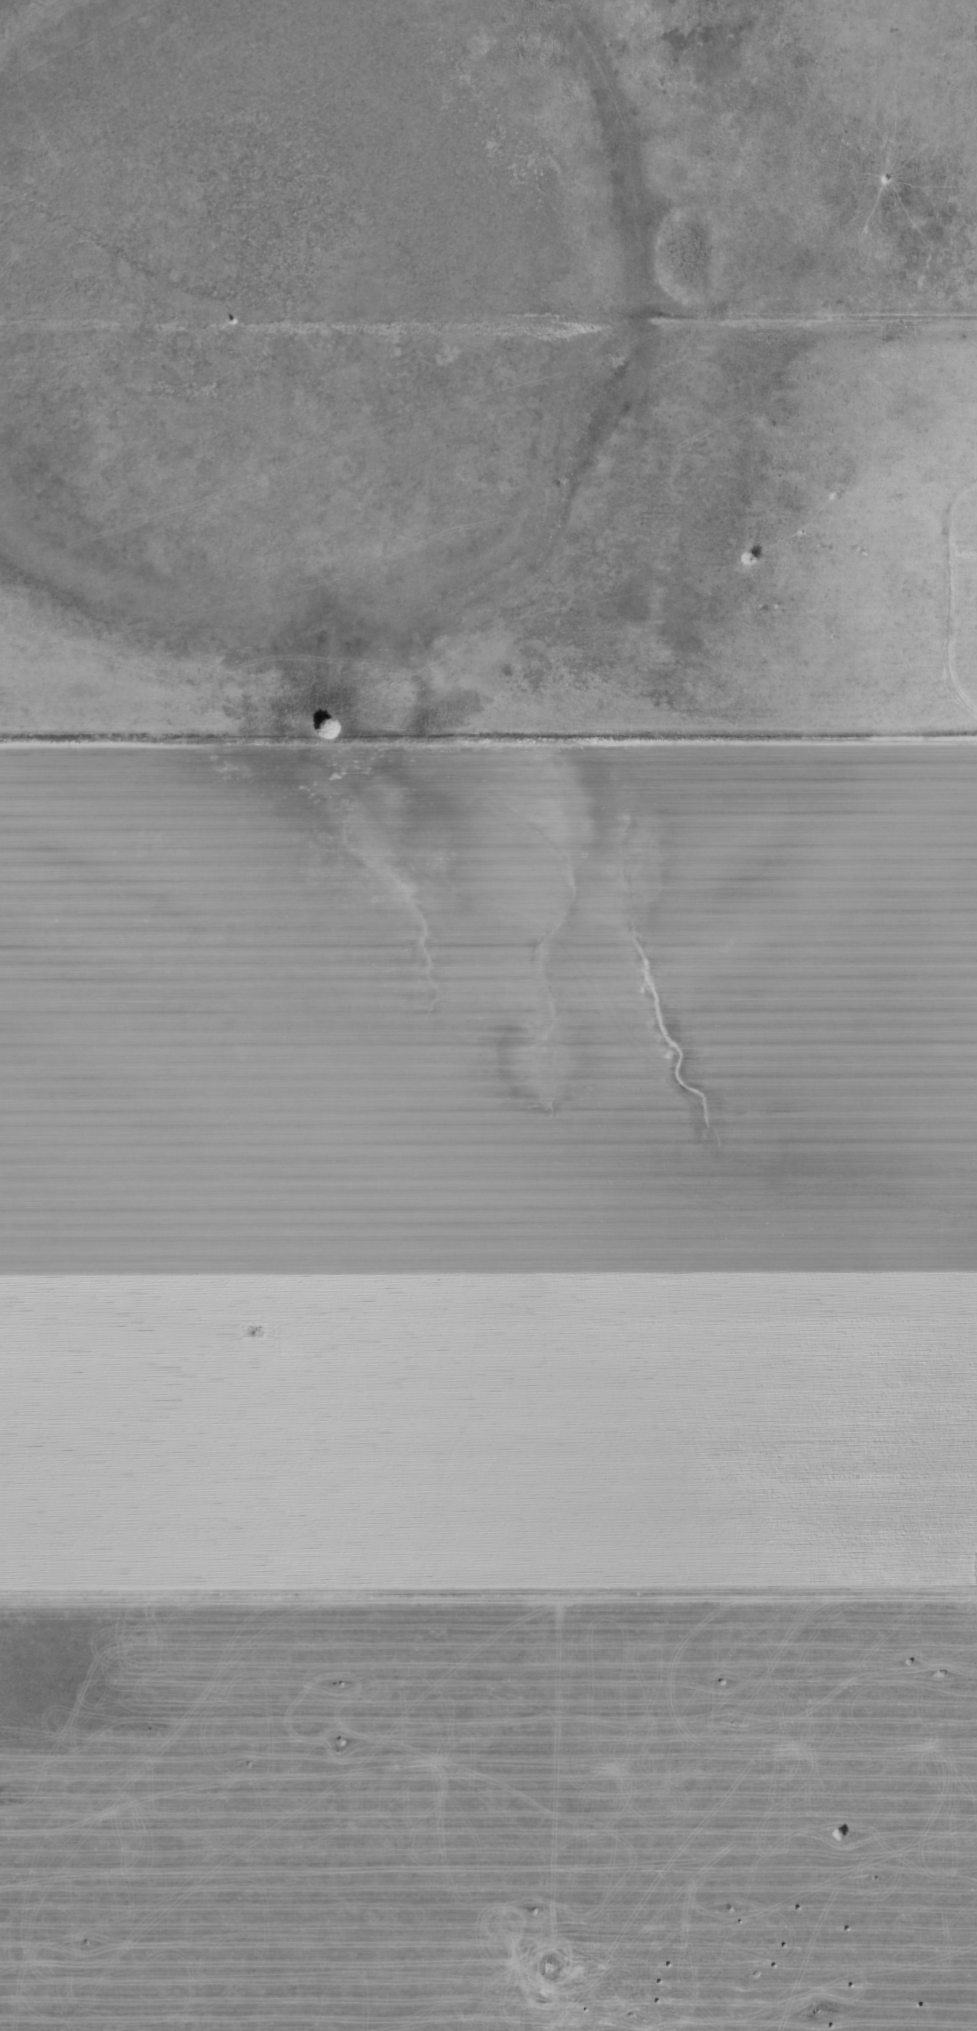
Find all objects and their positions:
road: (488, 1579)

